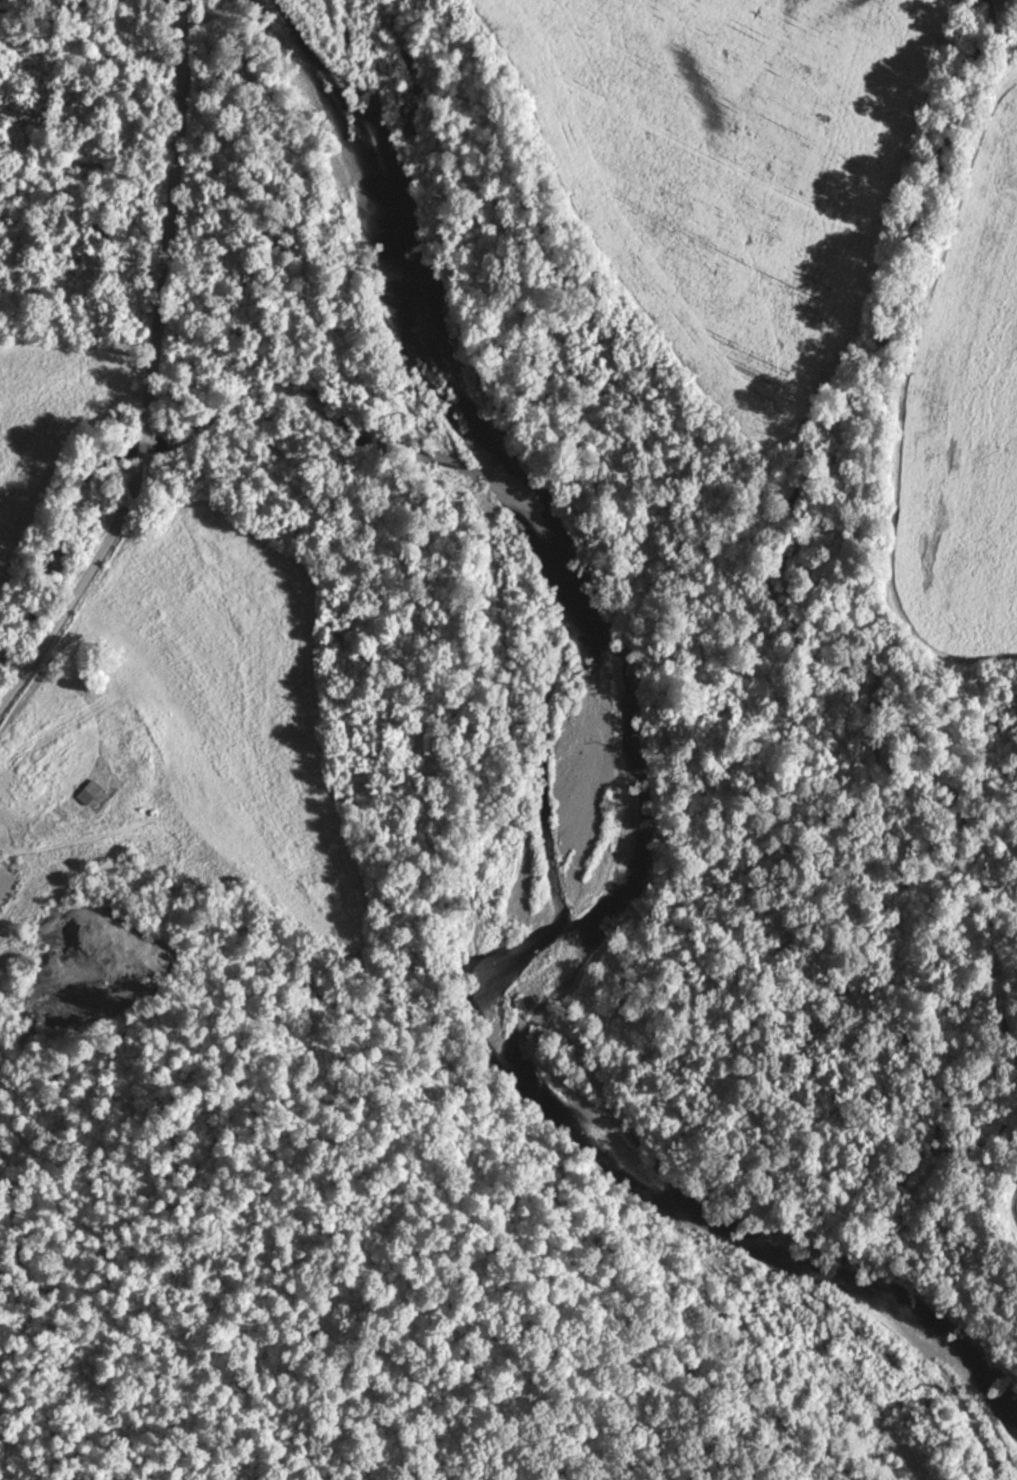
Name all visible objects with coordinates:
road: (154, 375)
building: (94, 796)
river: (544, 819)
building: (0, 858)

